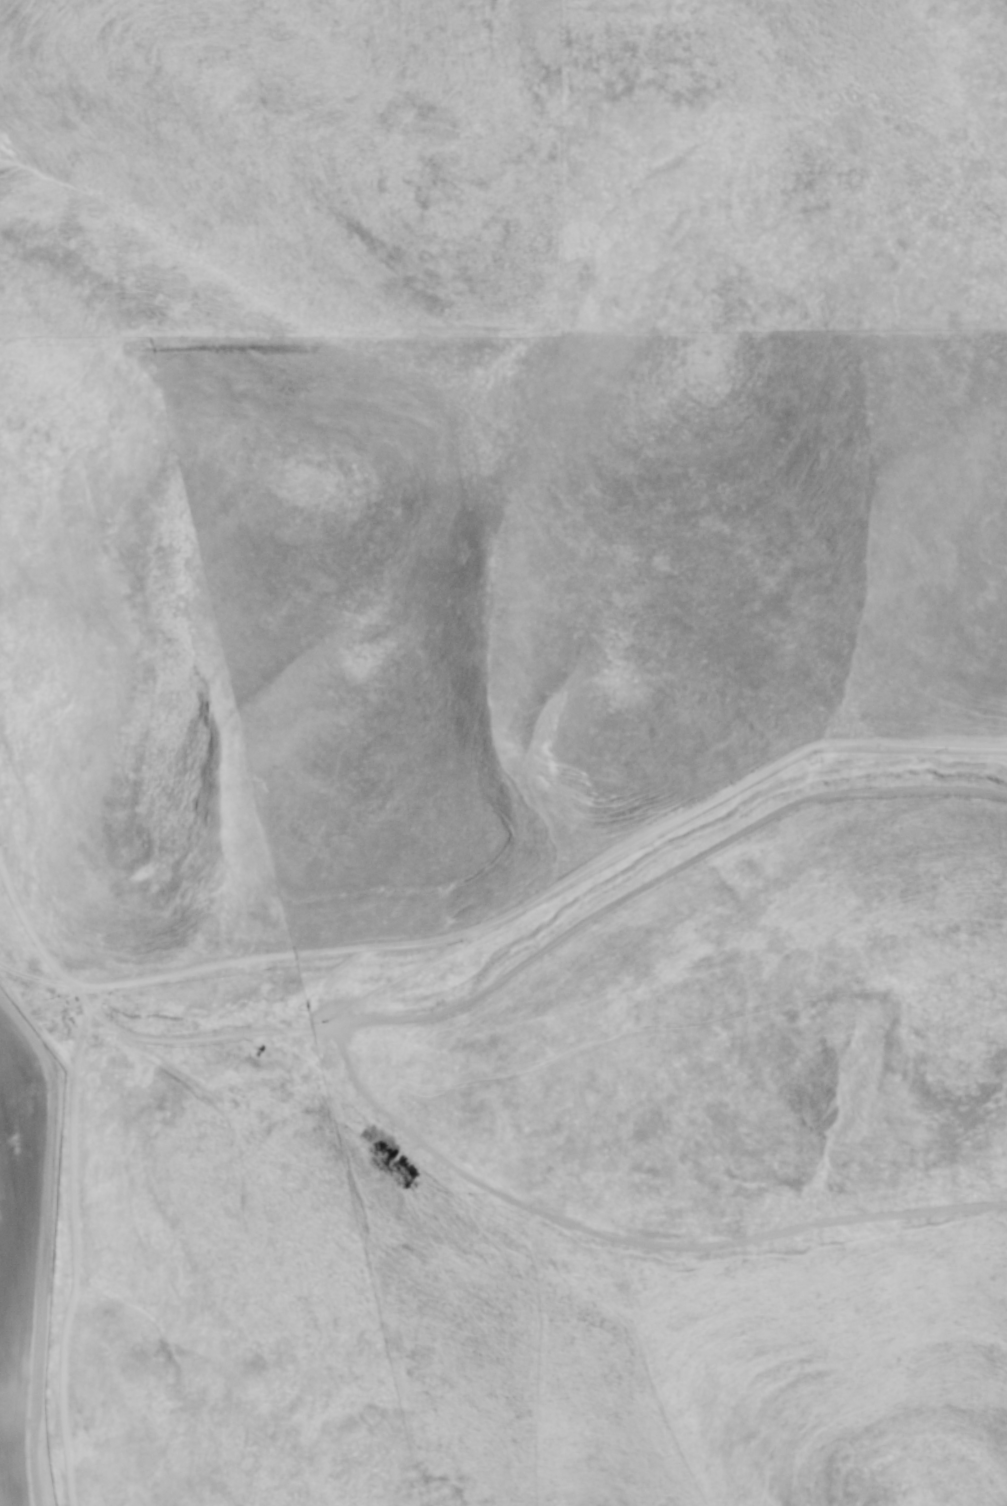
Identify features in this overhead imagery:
road: (562, 920)
road: (114, 1138)

